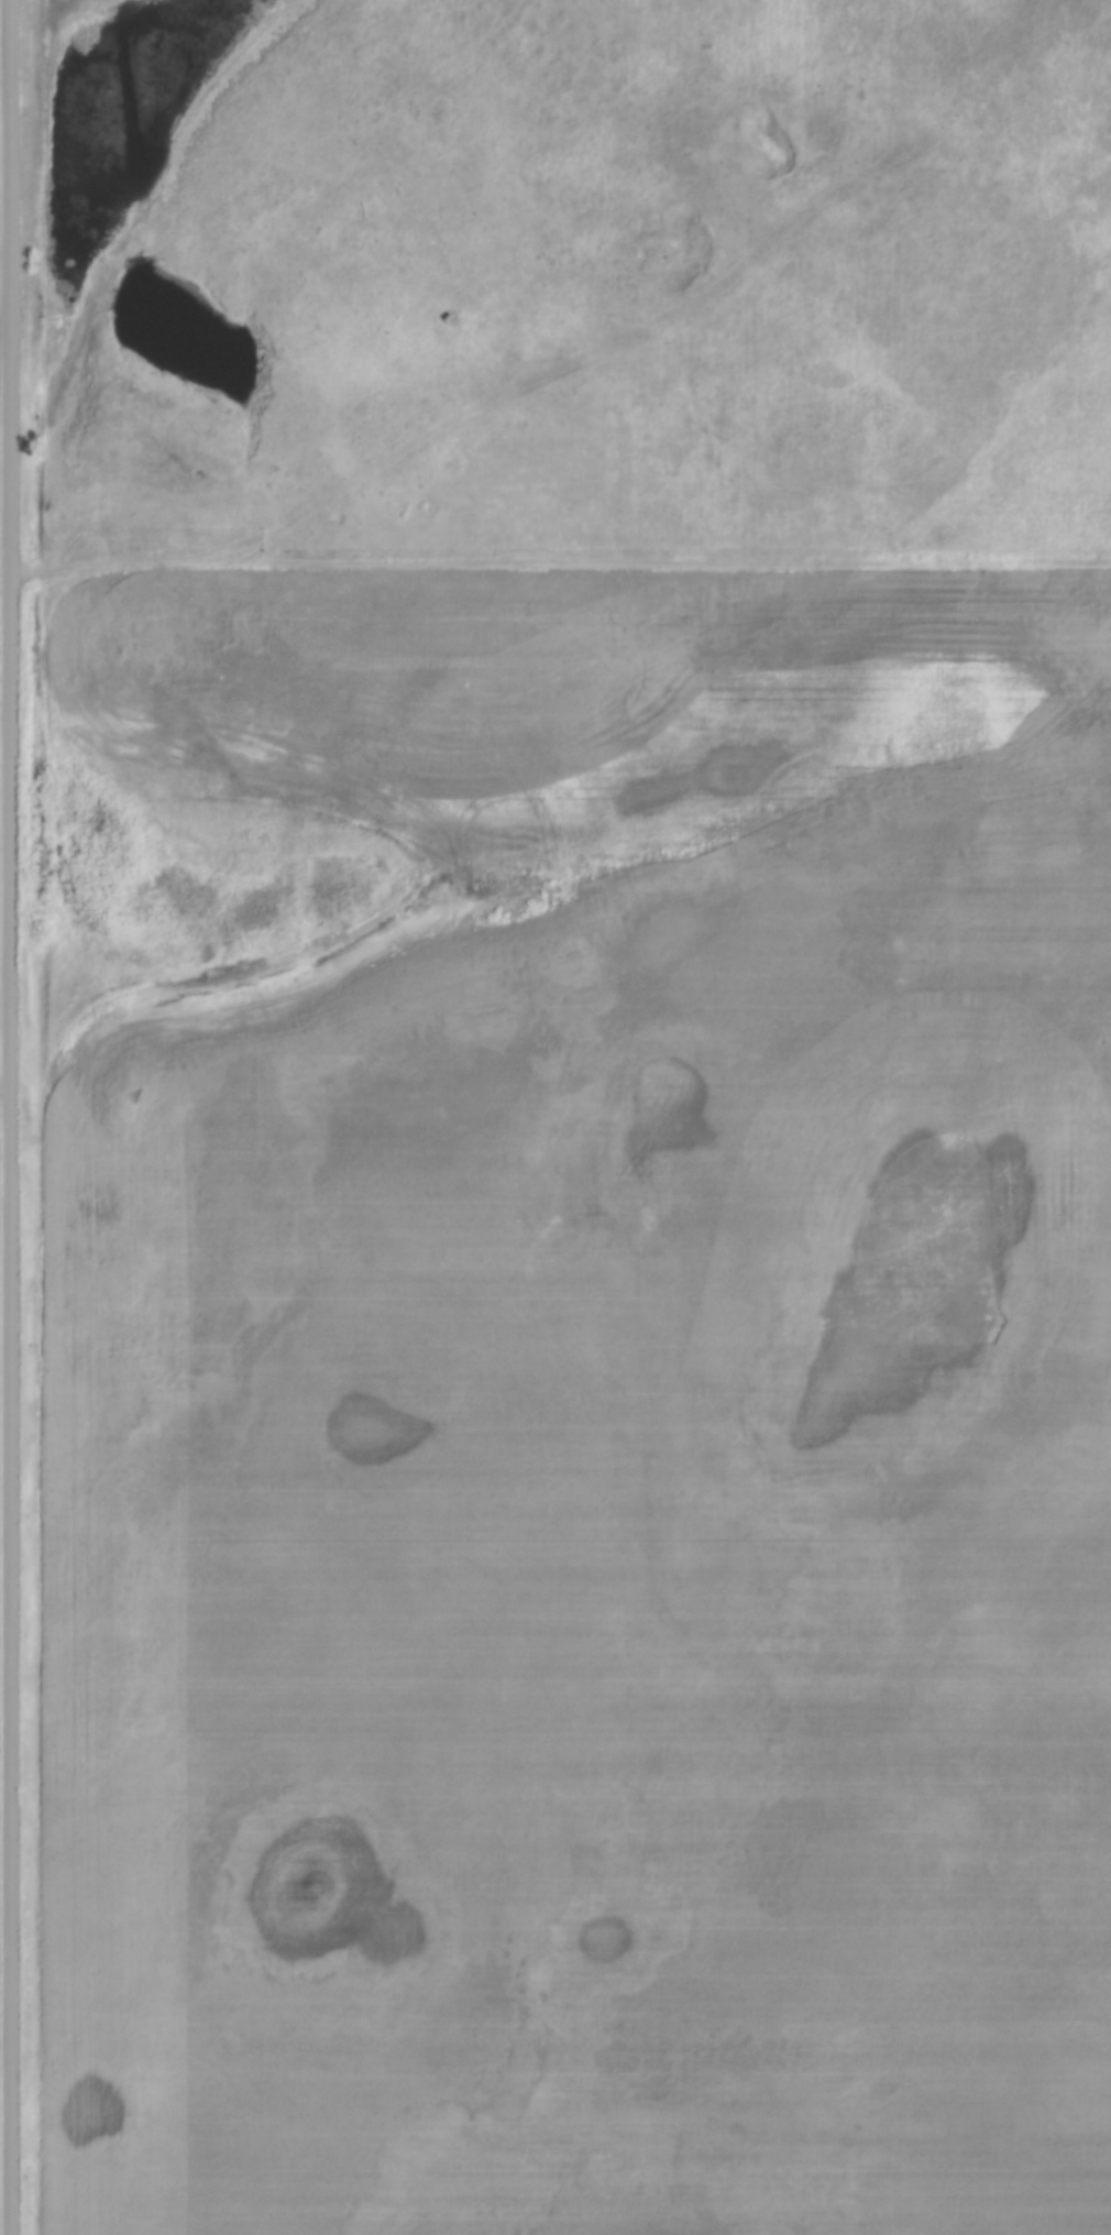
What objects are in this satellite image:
road: (563, 563)
road: (8, 1094)
road: (14, 1117)

